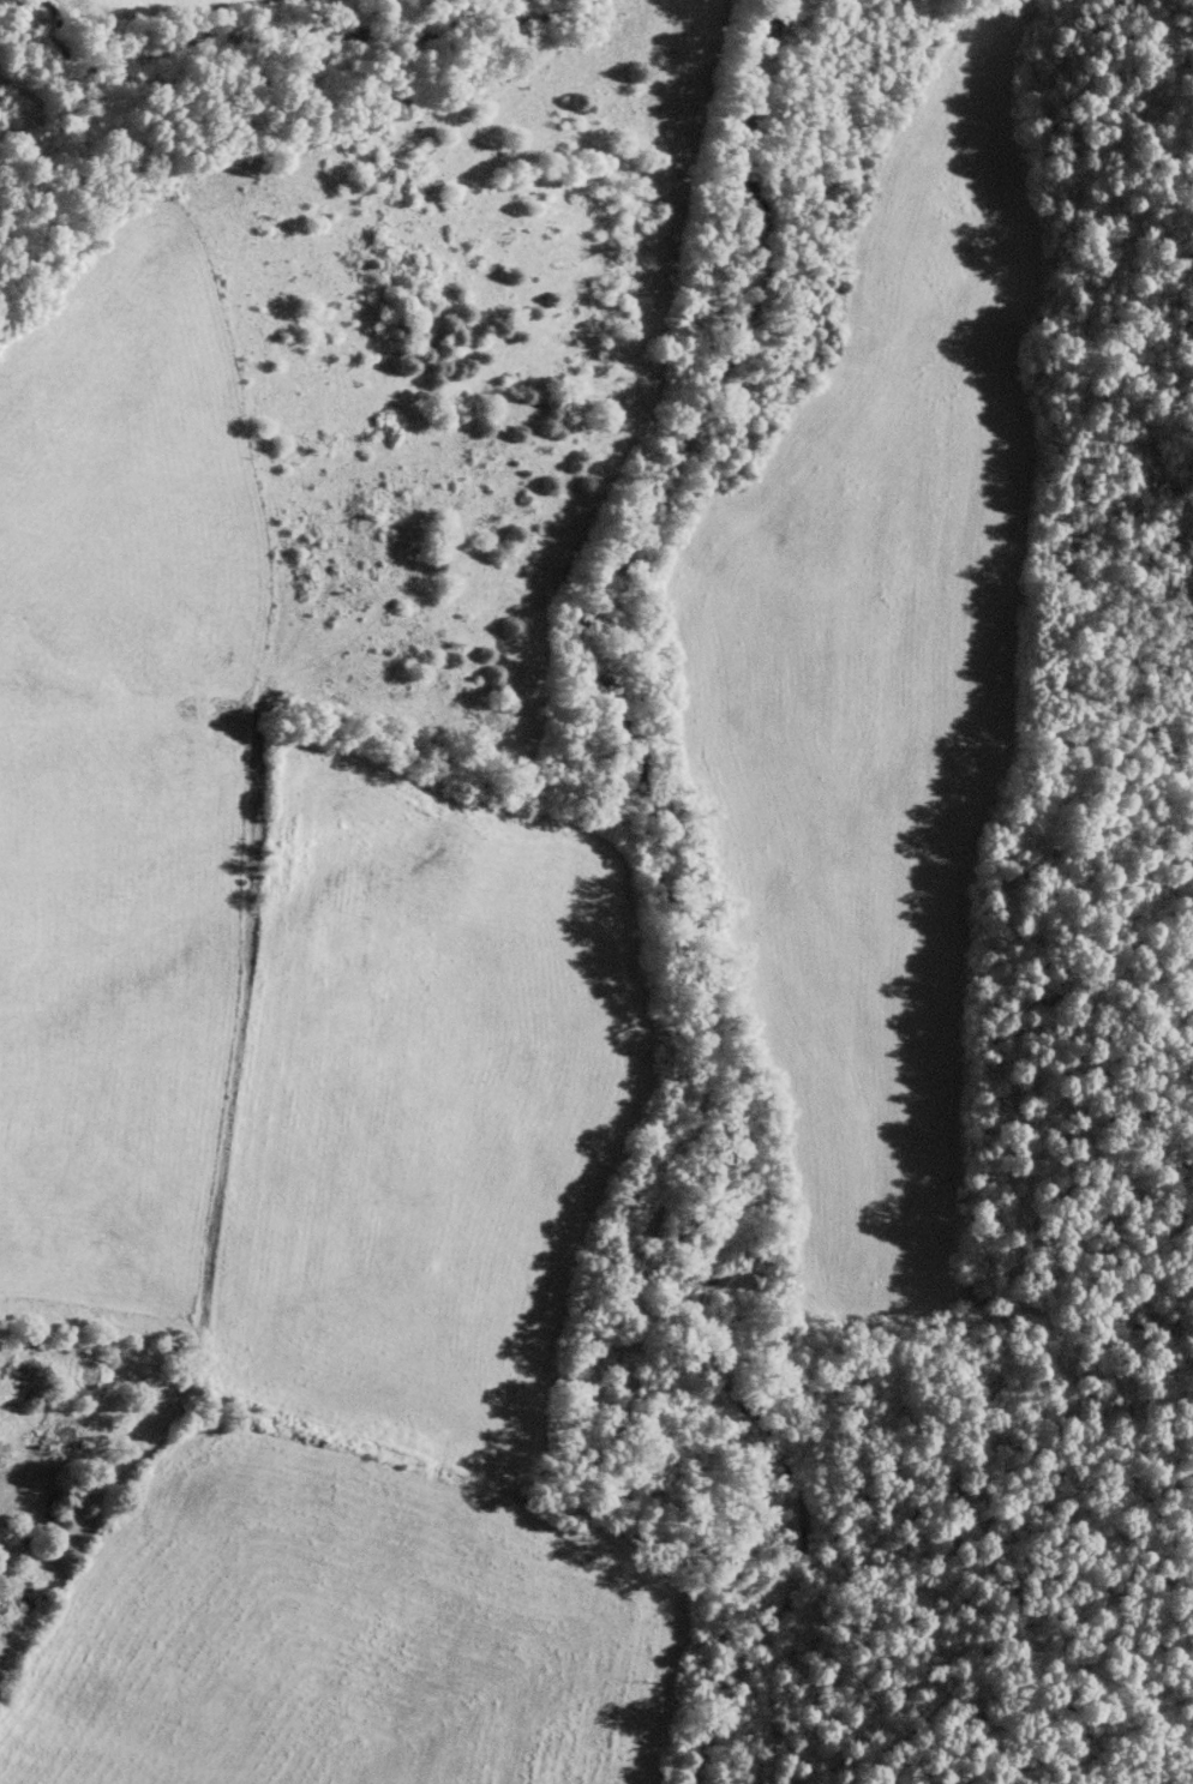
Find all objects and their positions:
road: (221, 1142)

